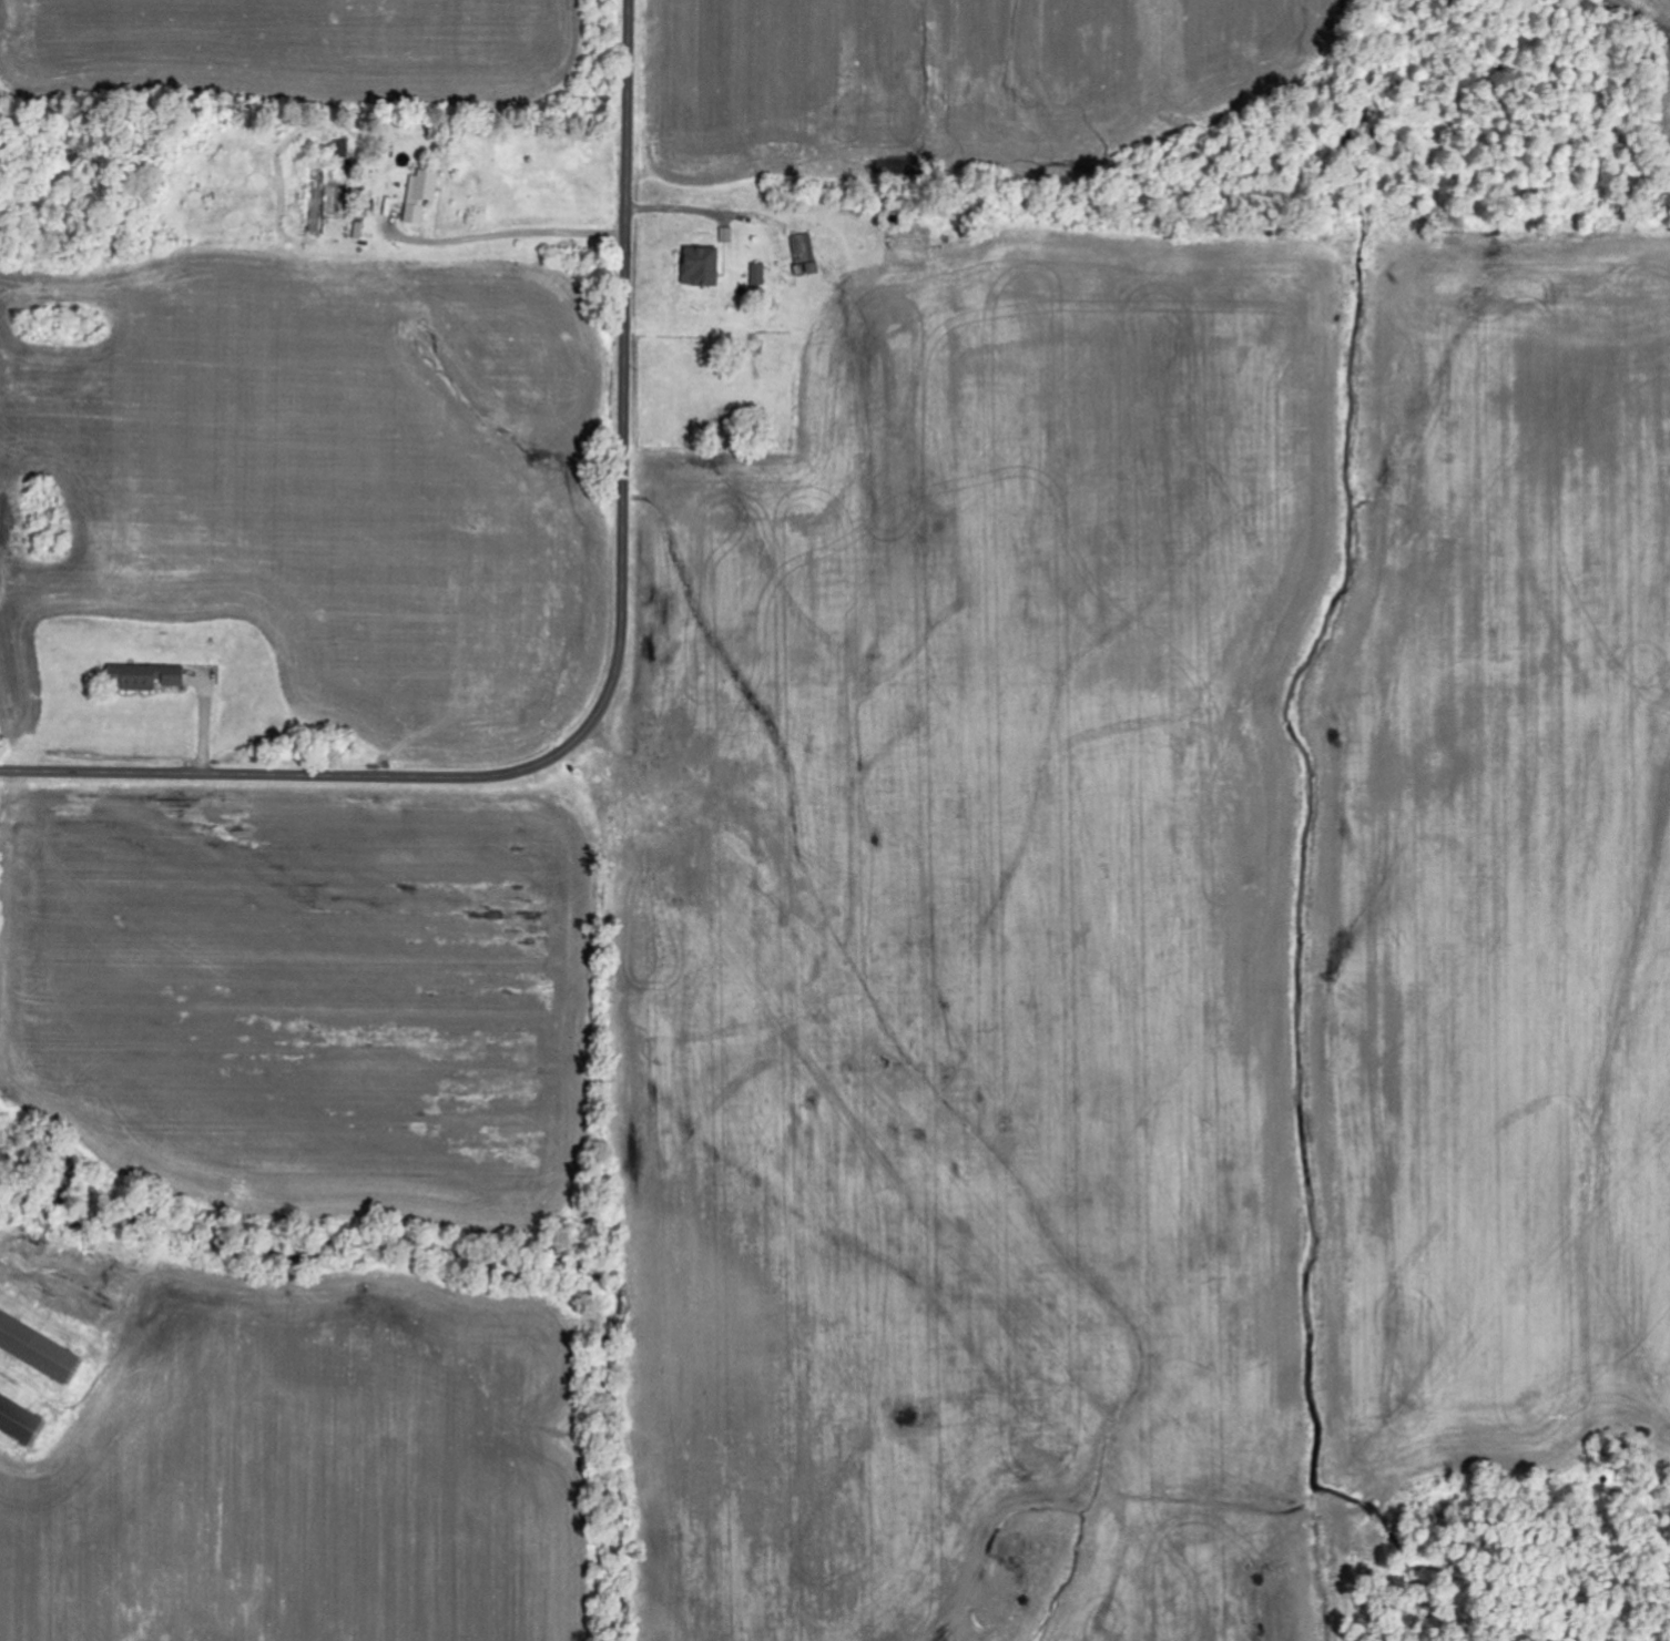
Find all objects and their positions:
building: (421, 195)
building: (703, 266)
building: (758, 274)
road: (618, 666)
building: (147, 677)
building: (40, 1343)
building: (20, 1417)

